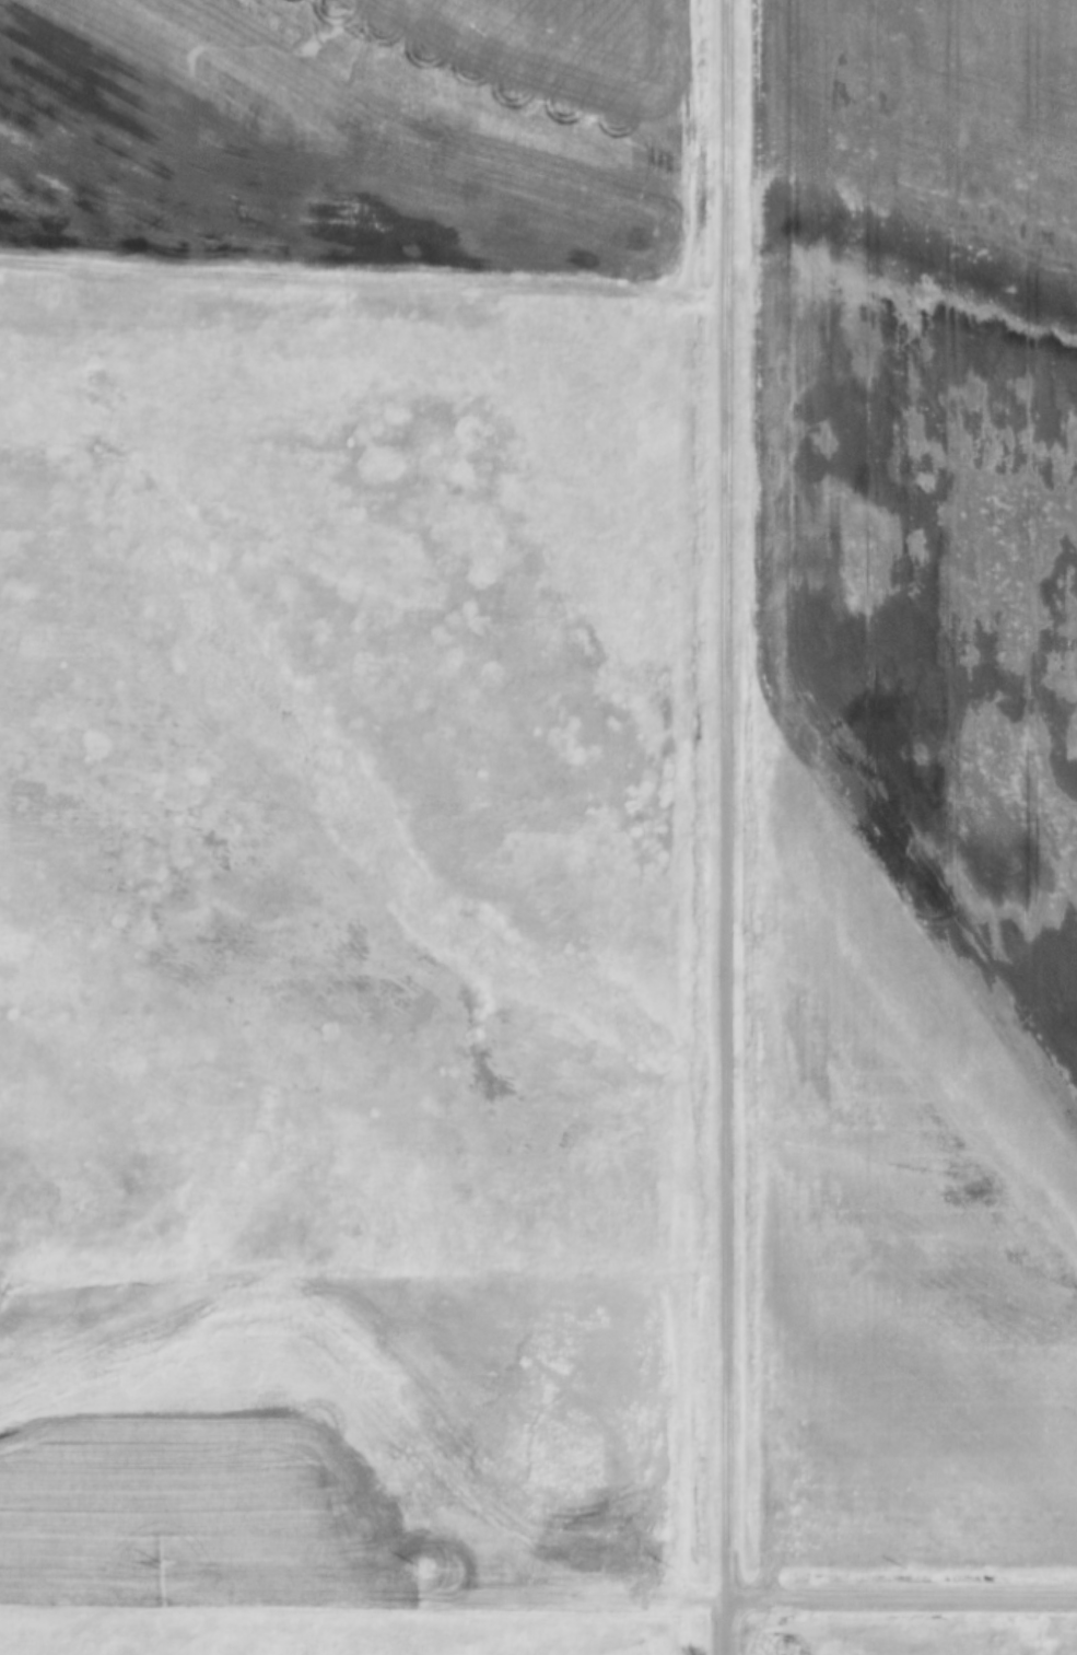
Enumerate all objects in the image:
road: (733, 802)
road: (903, 1599)
road: (365, 1609)
road: (730, 1629)

